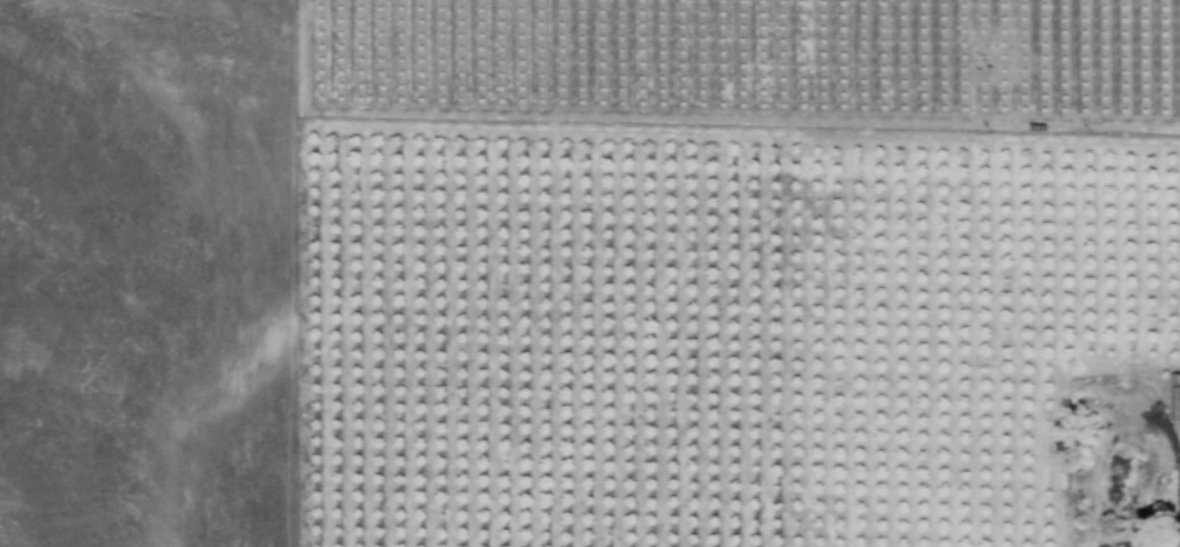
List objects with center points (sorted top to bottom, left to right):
building: (1174, 397)

